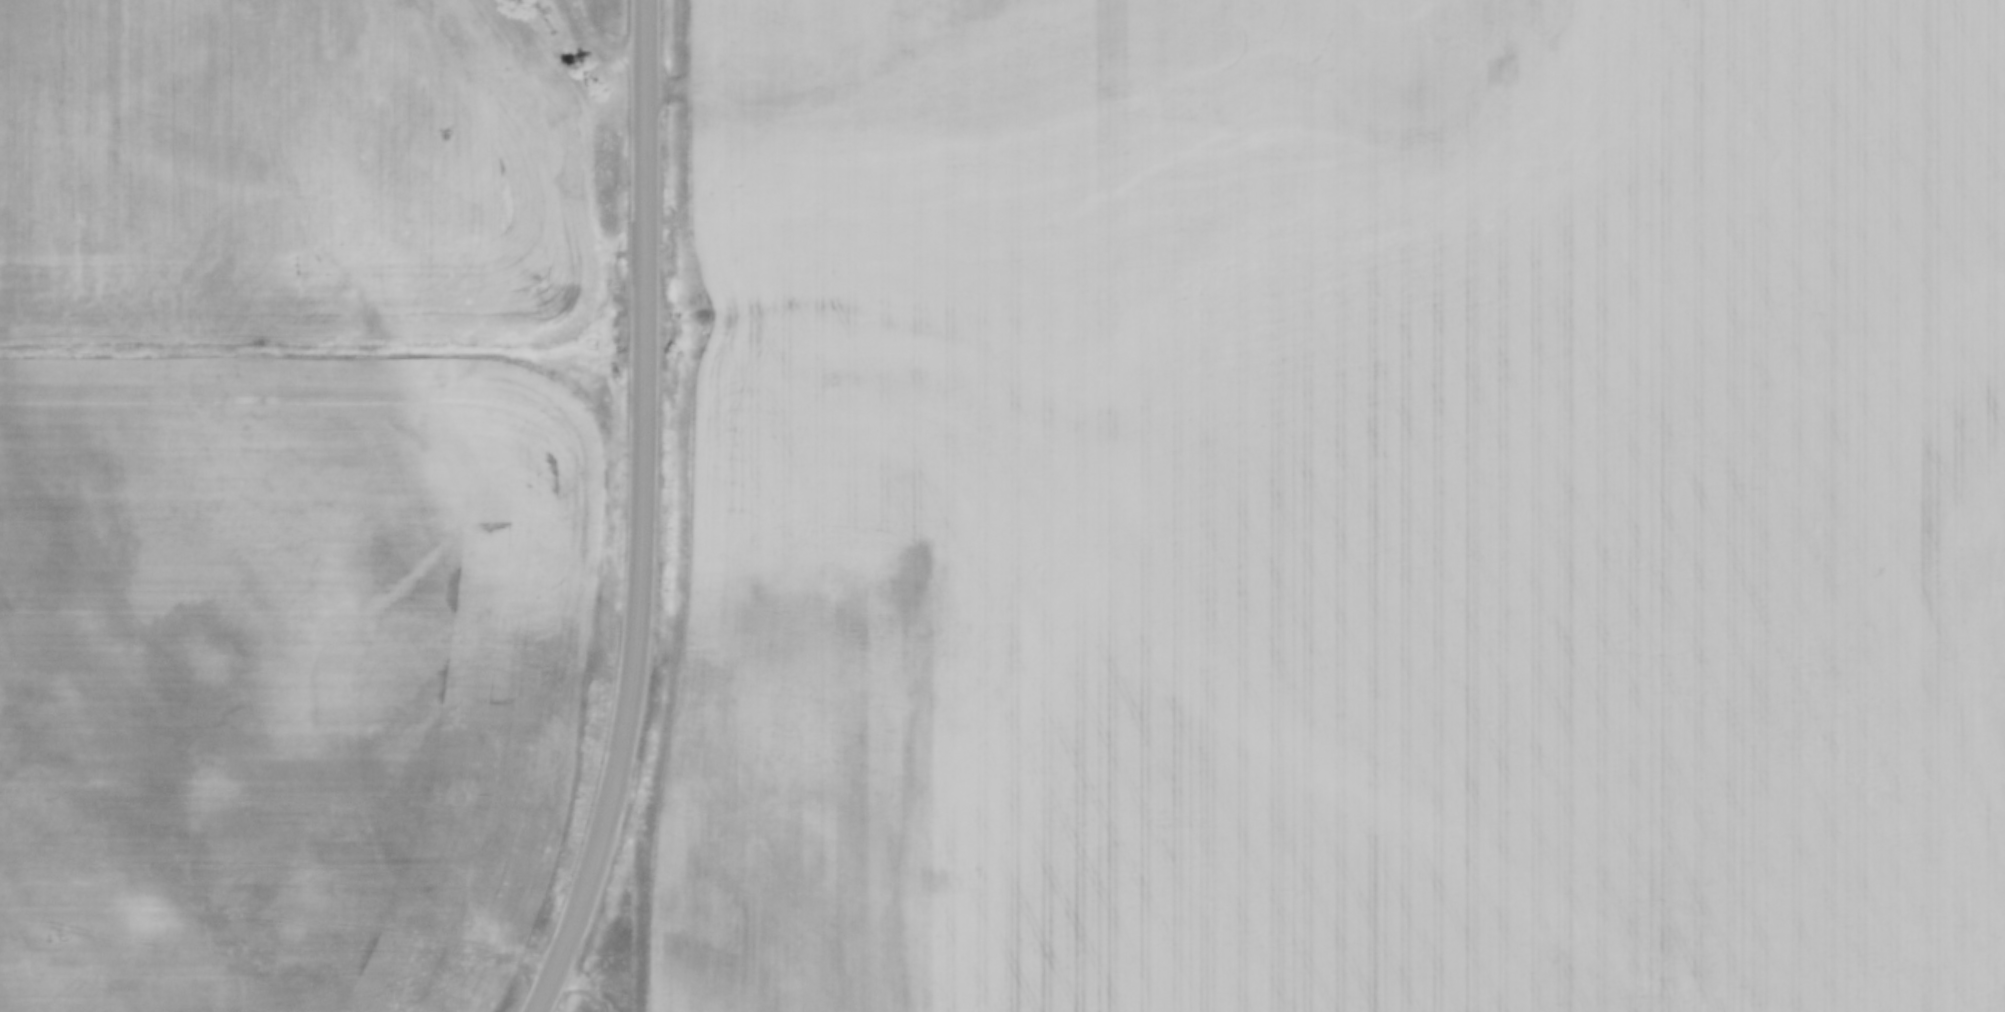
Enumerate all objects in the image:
road: (597, 39)
road: (640, 514)

